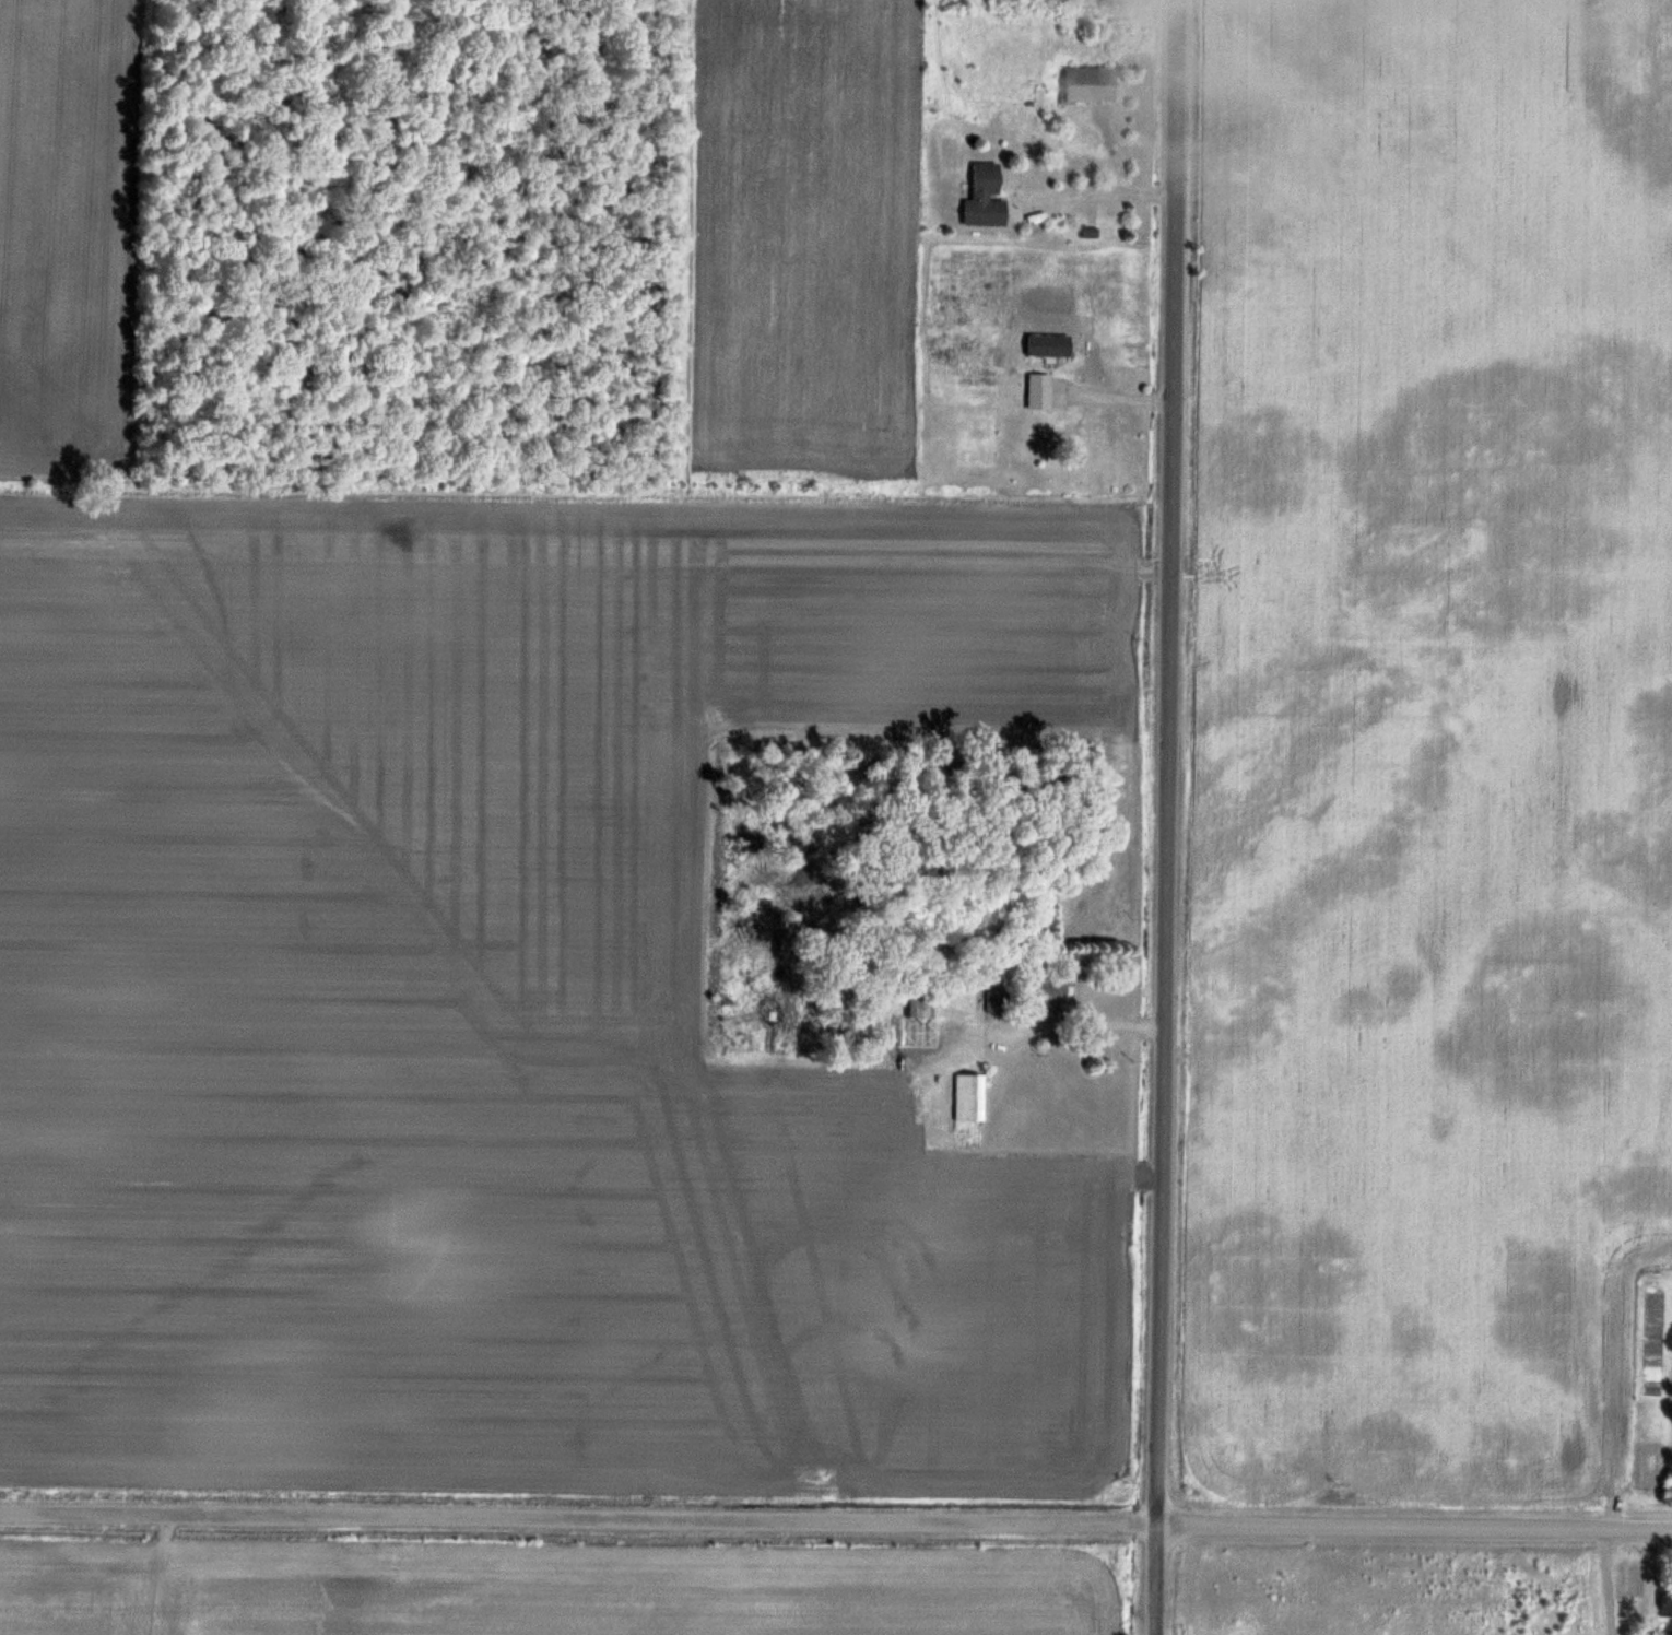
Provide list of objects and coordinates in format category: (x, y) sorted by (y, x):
building: (1090, 84)
road: (1100, 191)
building: (986, 196)
building: (1040, 390)
road: (1118, 397)
building: (1071, 434)
road: (1175, 818)
building: (1056, 995)
building: (998, 1001)
building: (921, 1022)
building: (970, 1097)
road: (835, 1522)
building: (1667, 1599)

